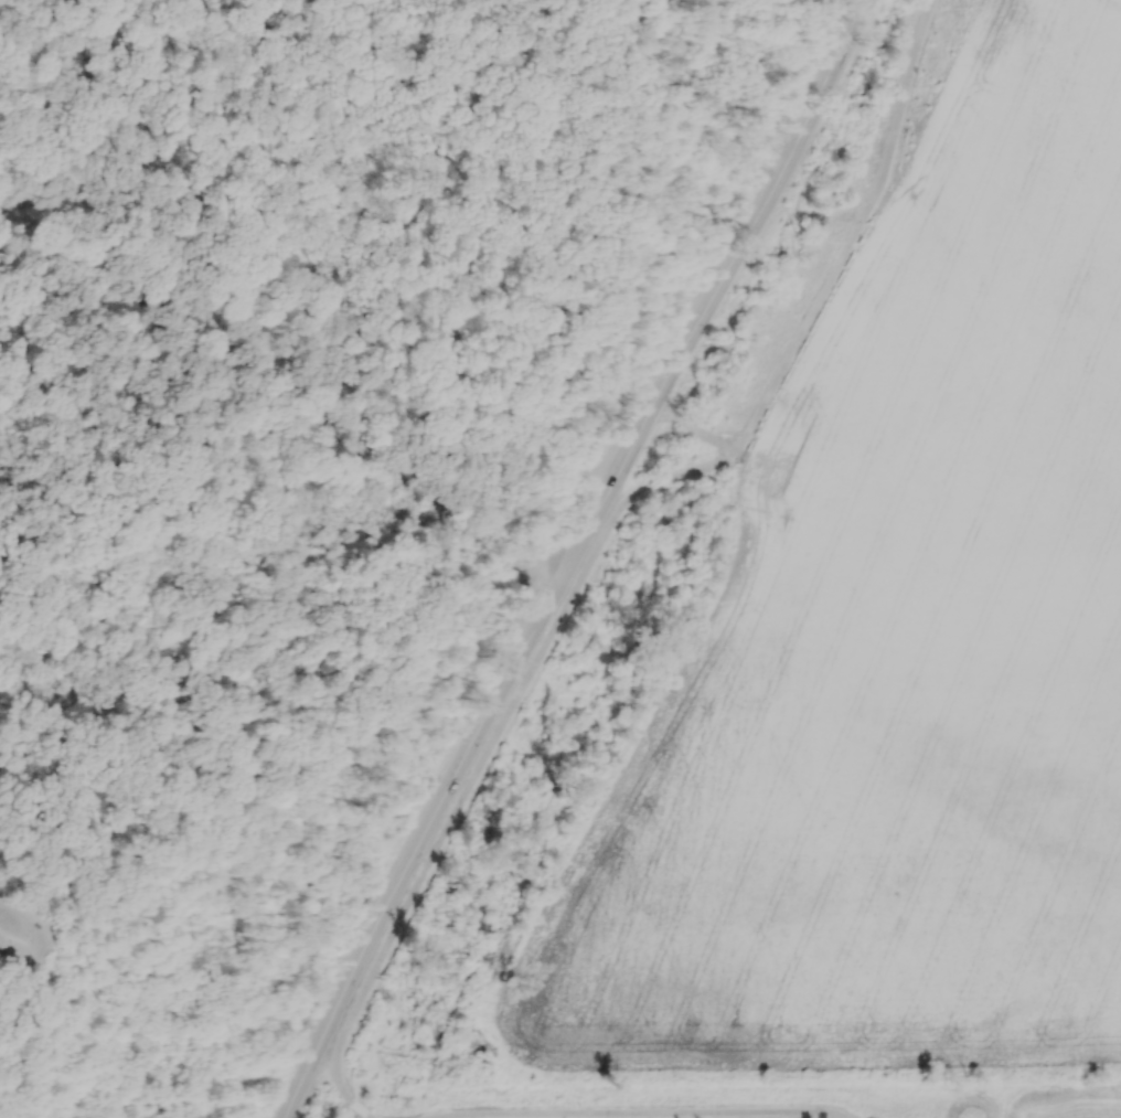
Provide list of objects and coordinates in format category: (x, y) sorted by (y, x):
road: (576, 260)
road: (297, 384)
road: (706, 435)
park: (305, 460)
road: (609, 524)
road: (575, 556)
road: (23, 938)
park: (720, 1094)
road: (356, 1110)
road: (645, 1112)

